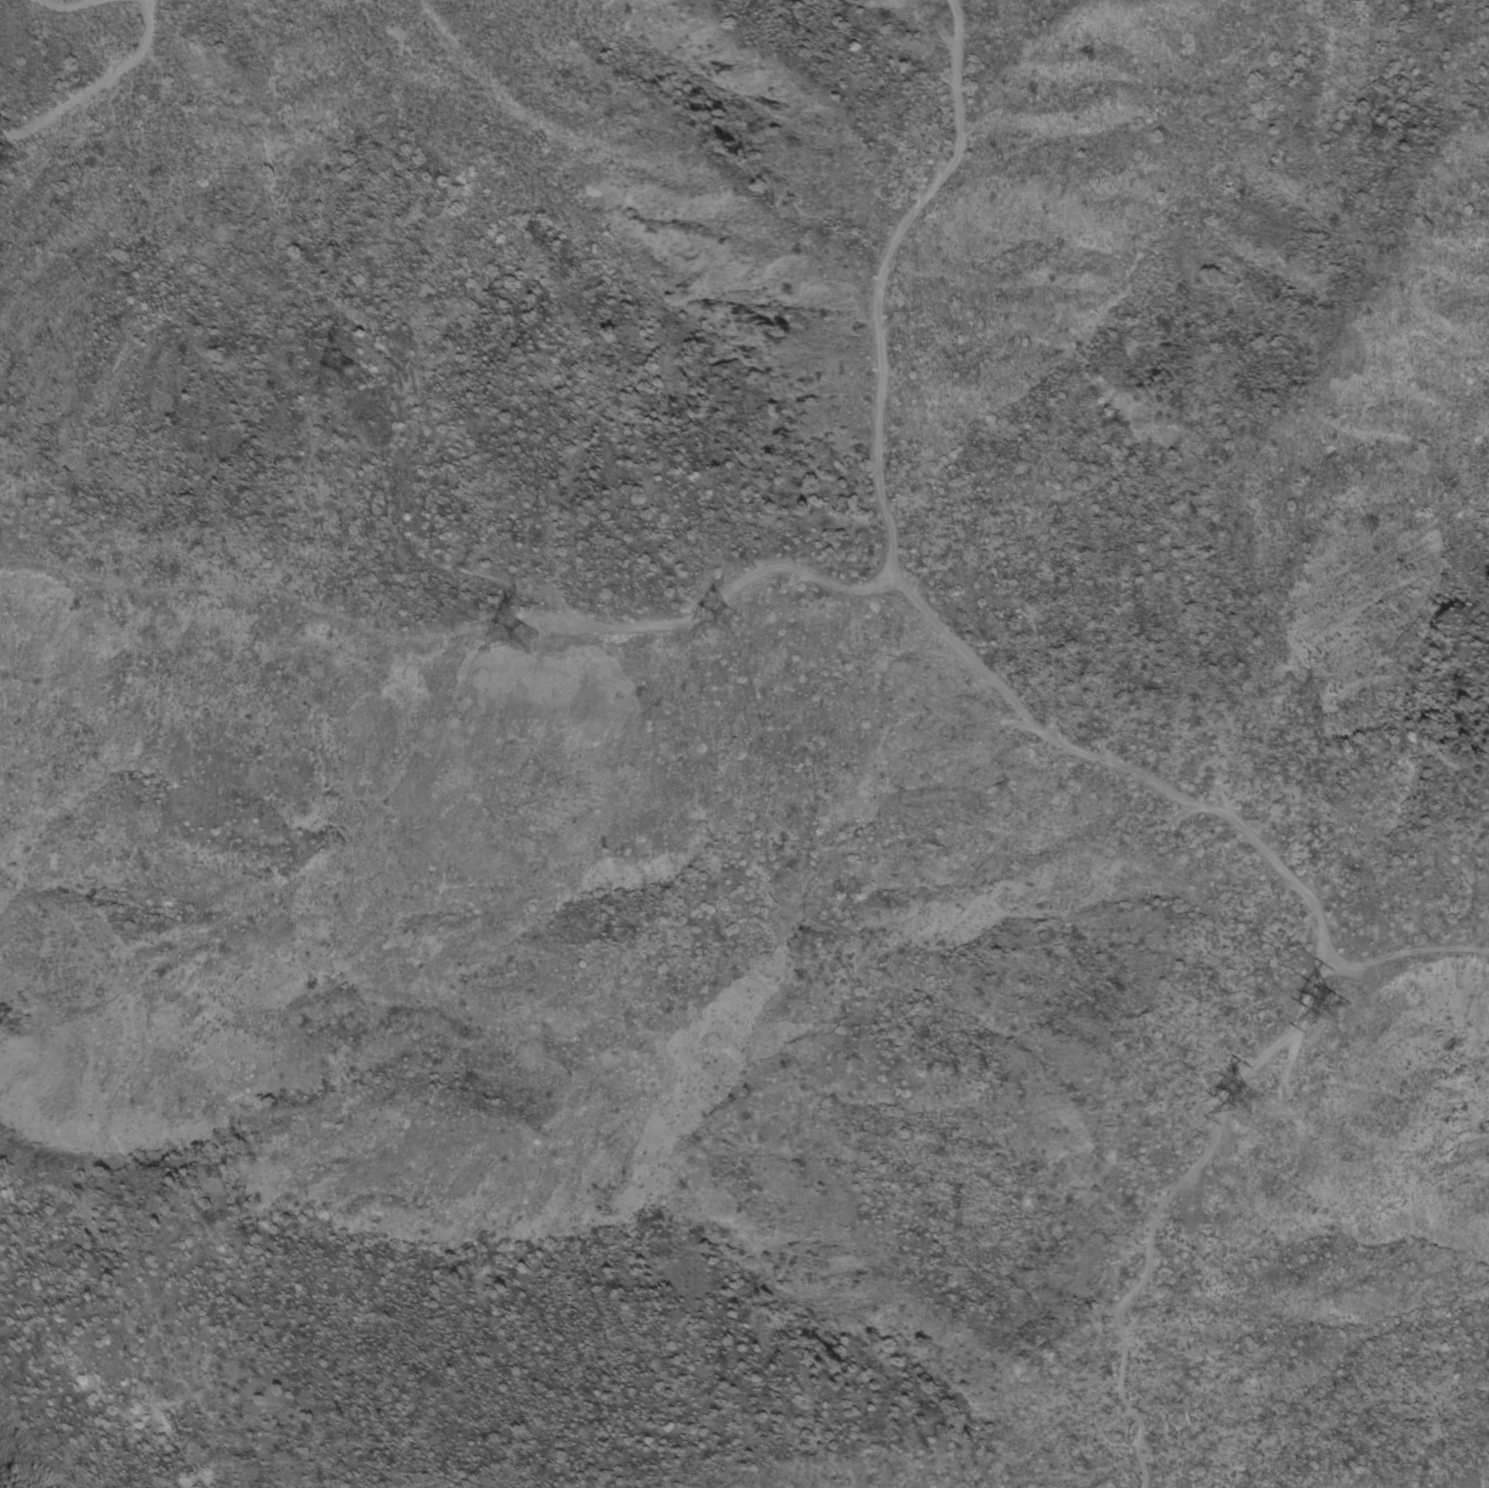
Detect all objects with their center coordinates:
power tower: (9, 157)
power tower: (351, 375)
power tower: (736, 612)
power tower: (526, 635)
power tower: (1333, 999)
power tower: (1251, 1097)

